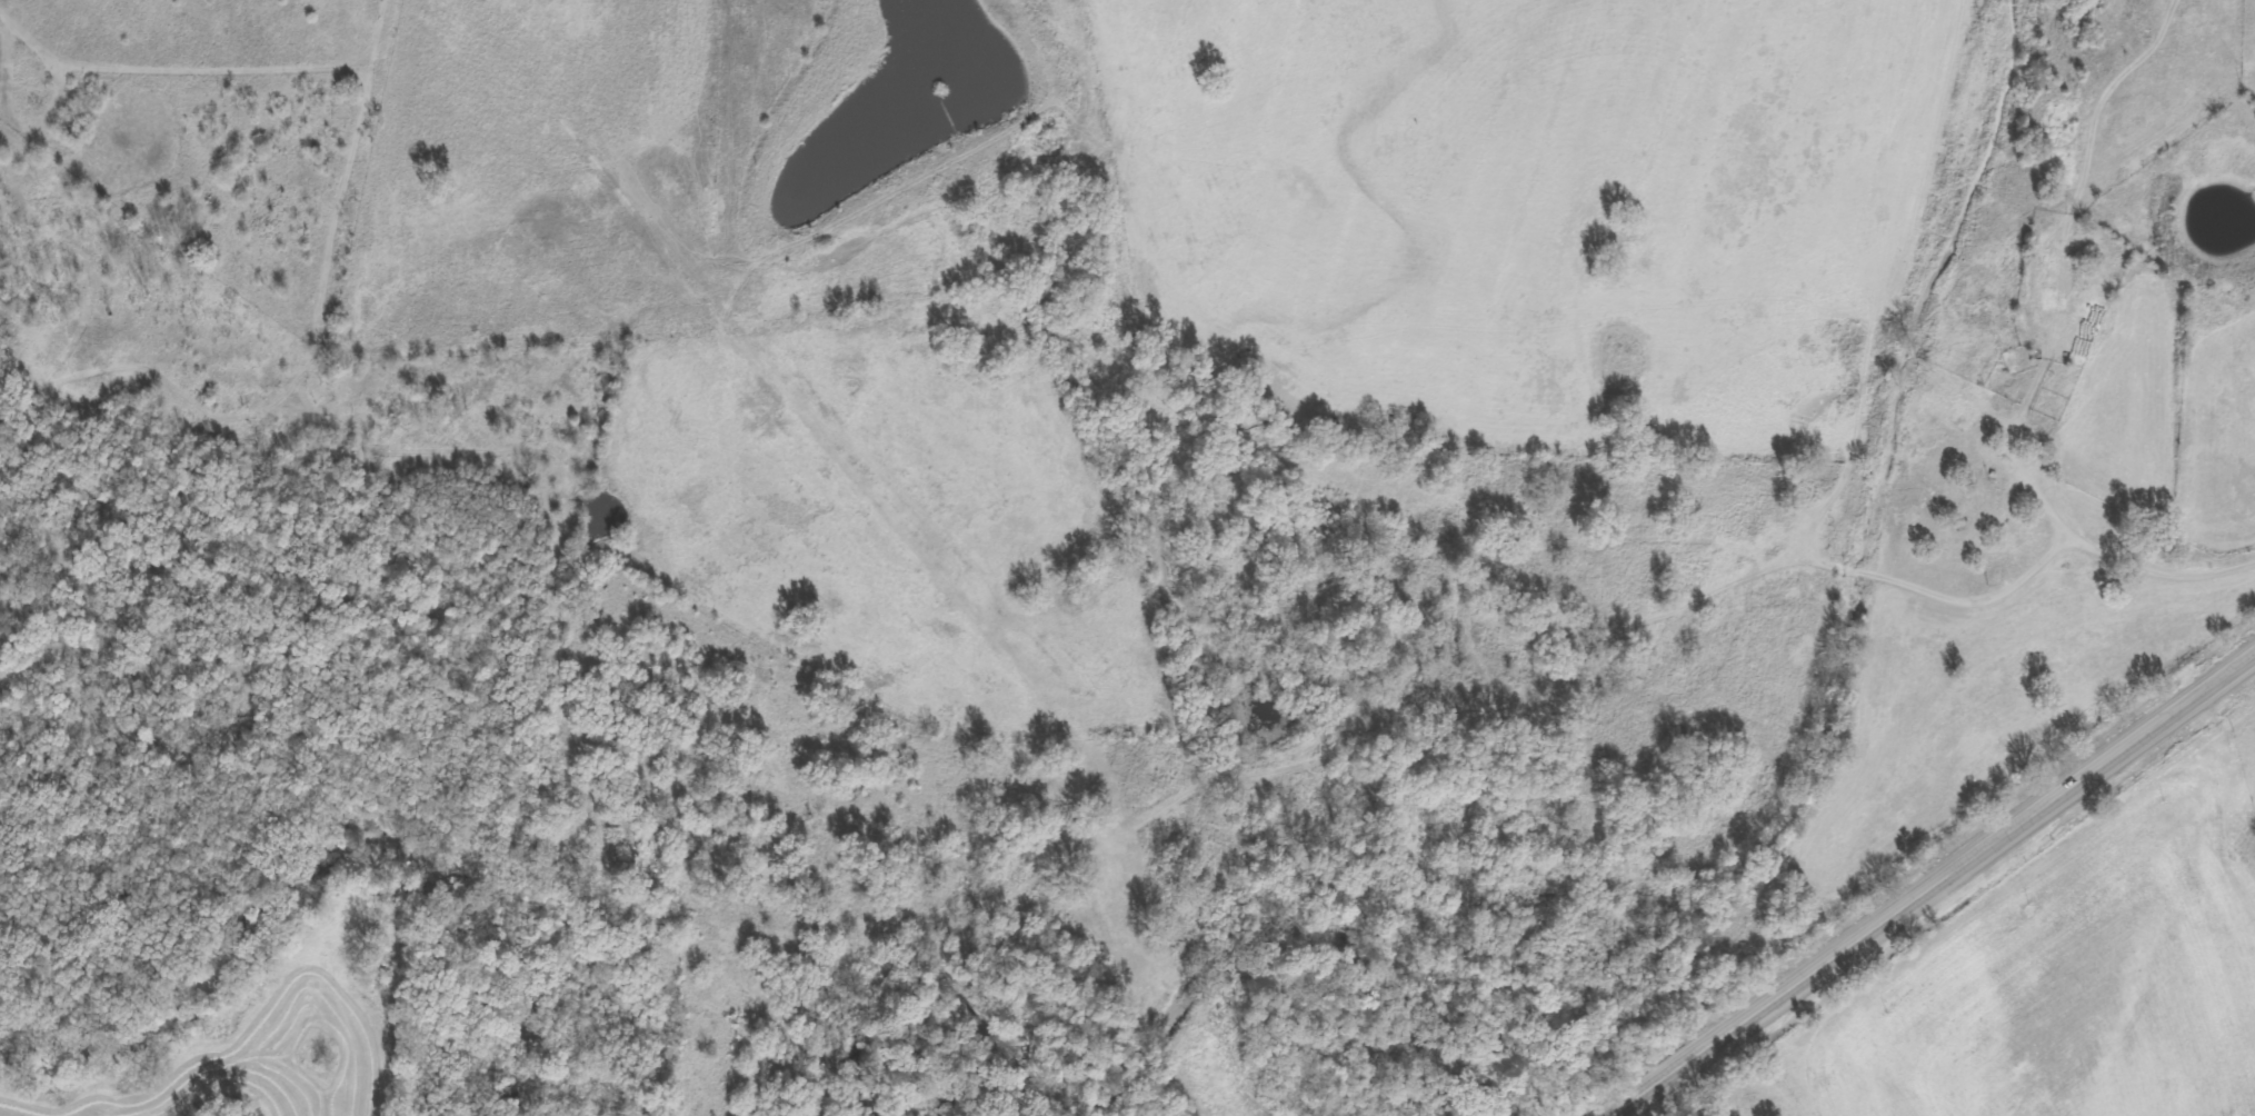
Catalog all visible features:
road: (42, 67)
road: (1904, 242)
road: (2084, 265)
building: (2053, 273)
building: (2005, 340)
building: (2031, 445)
building: (1974, 504)
building: (1945, 536)
road: (2158, 560)
road: (1922, 620)
road: (1932, 884)

